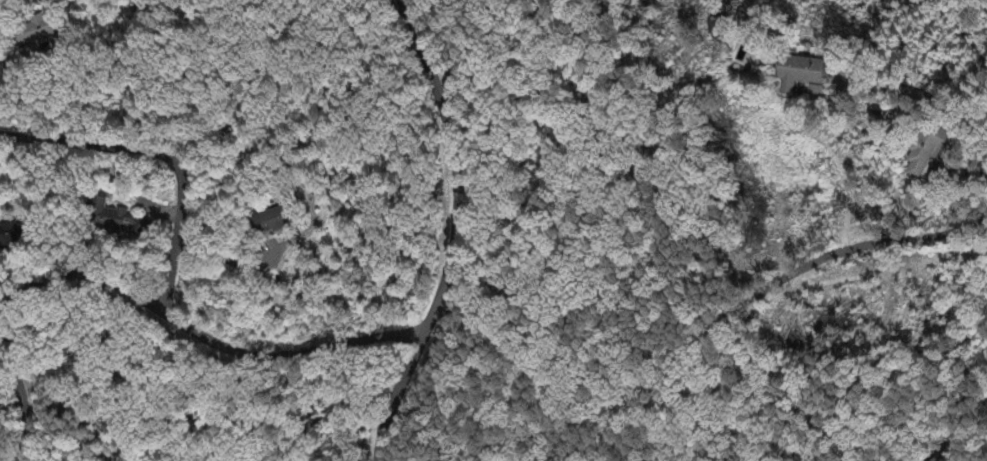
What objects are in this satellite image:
building: (37, 33)
building: (796, 74)
road: (923, 94)
road: (23, 97)
building: (925, 150)
road: (164, 154)
building: (114, 220)
building: (268, 222)
road: (457, 232)
building: (10, 236)
road: (136, 294)
road: (702, 341)

